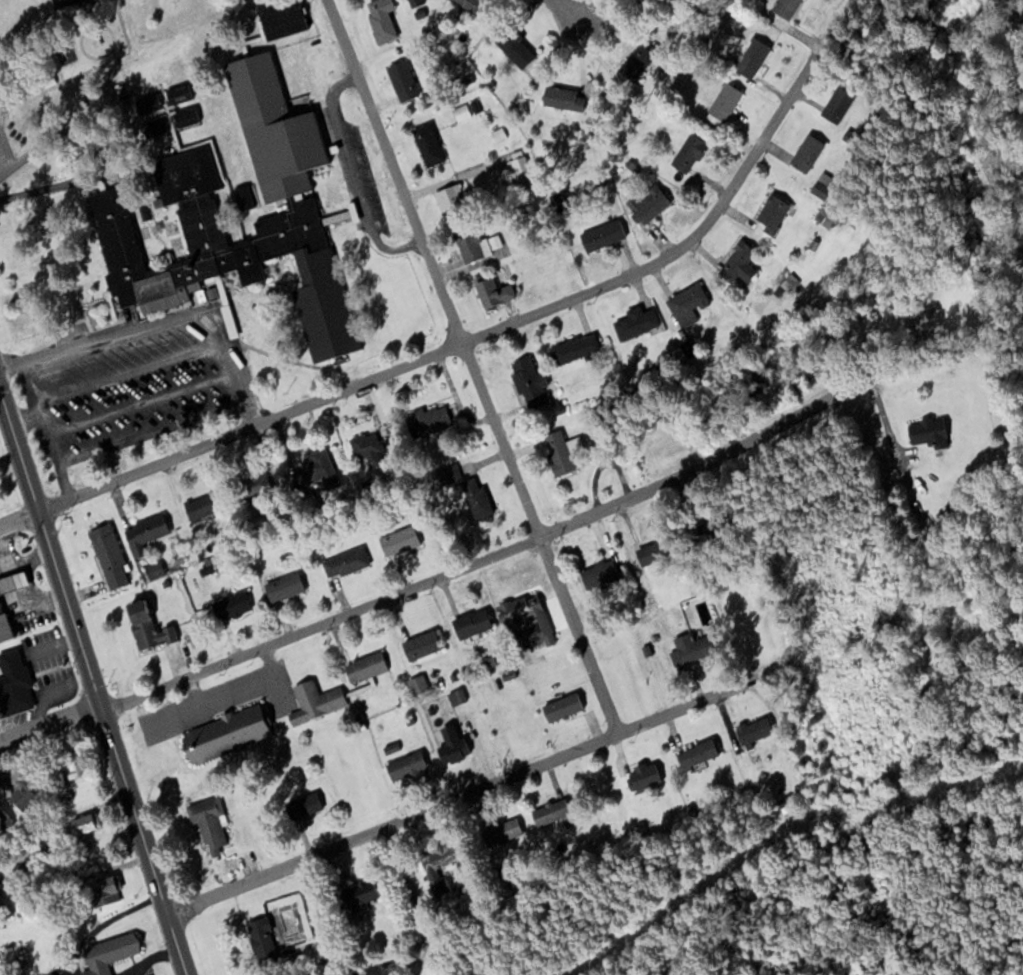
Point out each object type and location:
building: (62, 2)
building: (469, 4)
road: (561, 8)
building: (380, 18)
building: (281, 19)
building: (513, 46)
building: (751, 57)
building: (636, 62)
building: (402, 80)
building: (176, 92)
building: (563, 98)
building: (148, 102)
building: (724, 102)
building: (836, 105)
building: (462, 112)
building: (185, 116)
building: (428, 145)
building: (688, 153)
building: (807, 153)
building: (516, 161)
building: (241, 198)
building: (449, 199)
building: (560, 201)
building: (648, 204)
building: (195, 205)
building: (771, 214)
building: (601, 235)
building: (468, 243)
building: (738, 264)
building: (687, 304)
building: (635, 323)
road: (462, 342)
building: (573, 348)
road: (471, 367)
building: (529, 381)
building: (427, 420)
building: (928, 431)
building: (365, 446)
building: (558, 451)
building: (443, 475)
building: (256, 484)
building: (474, 496)
building: (200, 507)
building: (144, 532)
building: (399, 540)
building: (650, 551)
building: (109, 555)
building: (345, 562)
road: (452, 572)
building: (599, 574)
building: (12, 581)
building: (283, 586)
building: (230, 605)
building: (524, 617)
building: (471, 623)
building: (146, 626)
building: (3, 627)
building: (420, 644)
building: (691, 645)
building: (365, 666)
road: (95, 682)
building: (13, 684)
building: (418, 684)
building: (315, 700)
building: (561, 707)
building: (751, 732)
building: (225, 733)
building: (697, 754)
building: (72, 765)
building: (405, 766)
building: (642, 776)
building: (21, 794)
road: (463, 794)
building: (302, 805)
building: (550, 812)
building: (4, 821)
building: (84, 823)
building: (209, 823)
building: (501, 832)
building: (437, 872)
building: (104, 892)
building: (359, 893)
building: (4, 909)
building: (261, 939)
building: (108, 953)
building: (13, 955)
road: (377, 970)

